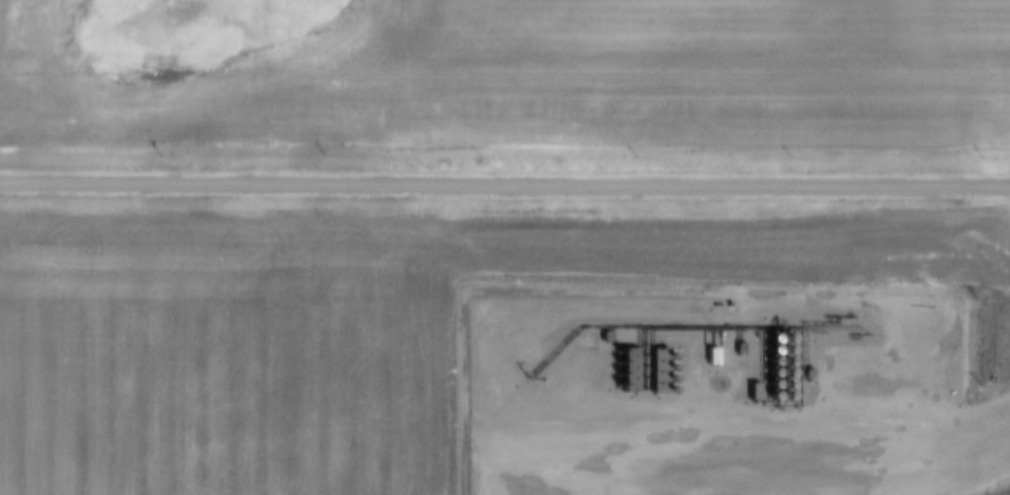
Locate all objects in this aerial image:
road: (504, 188)

